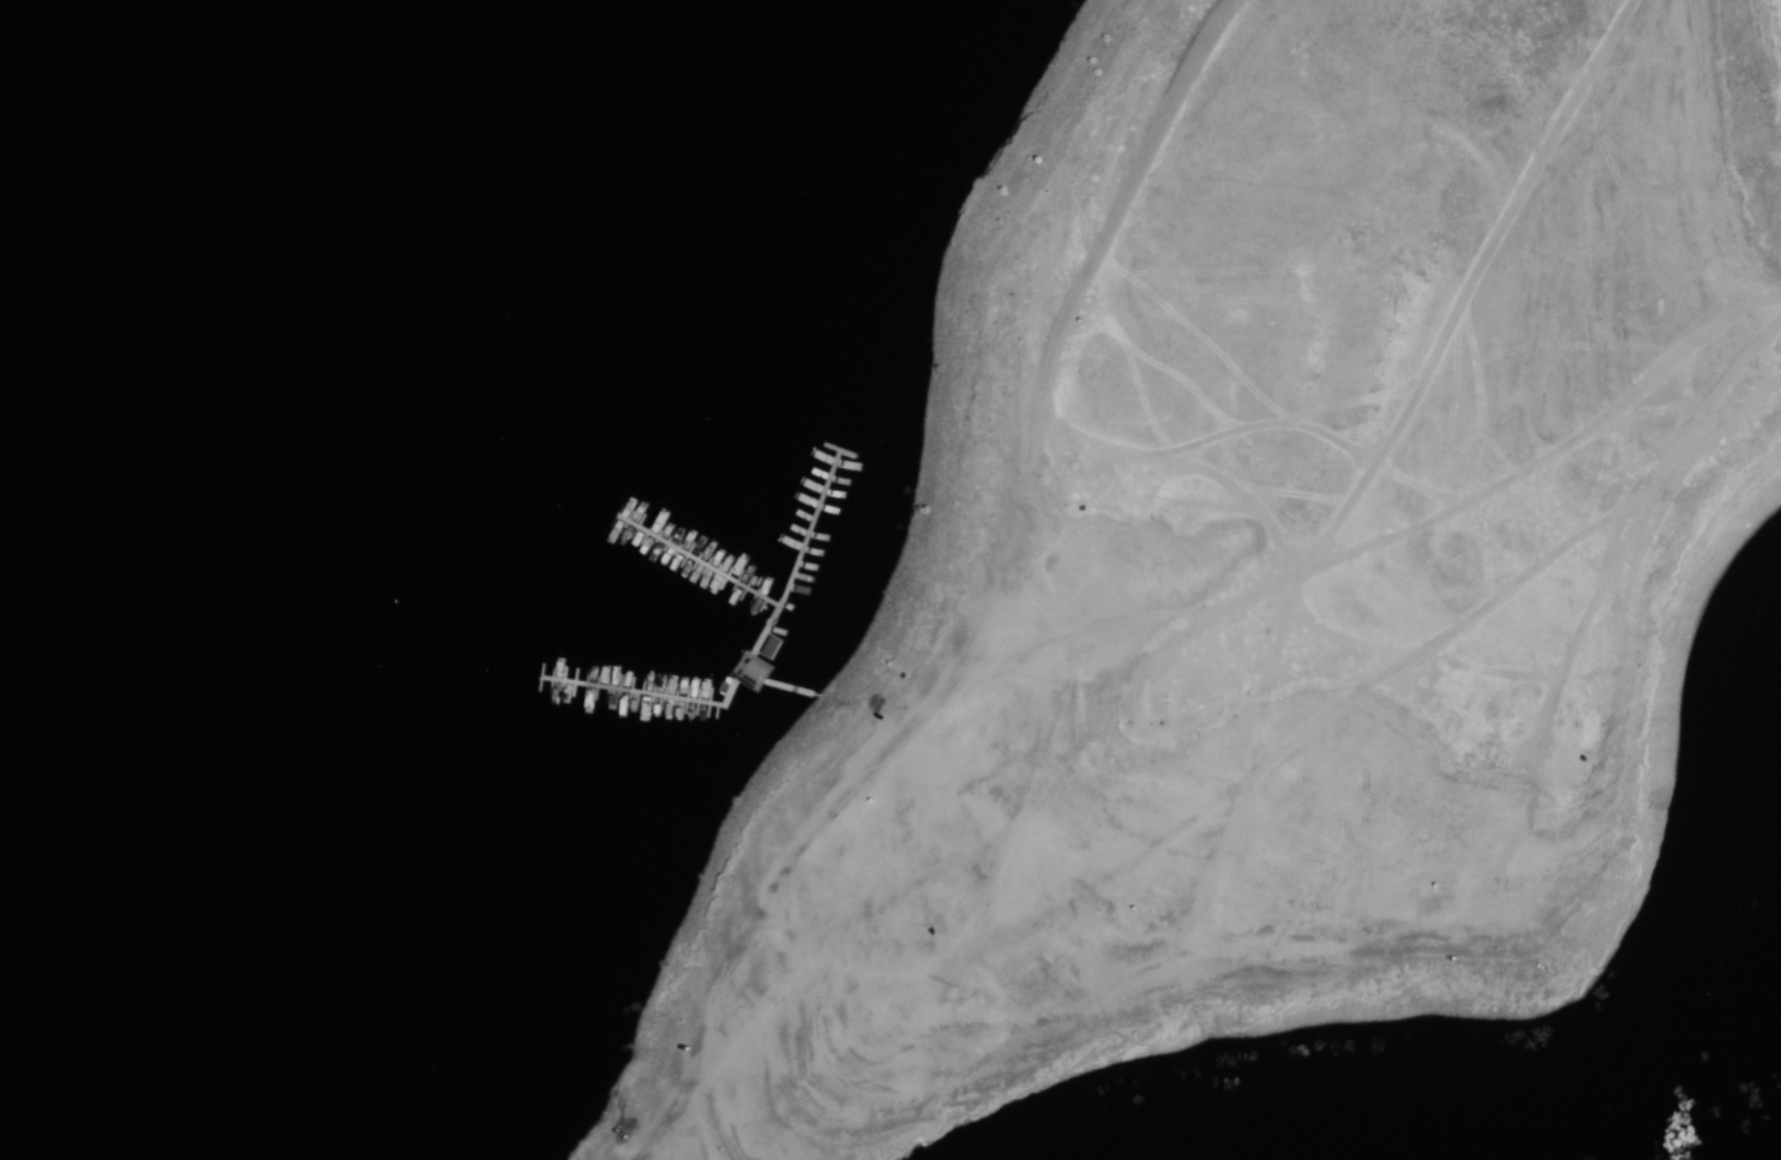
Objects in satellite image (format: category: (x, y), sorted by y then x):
river: (1617, 1028)

